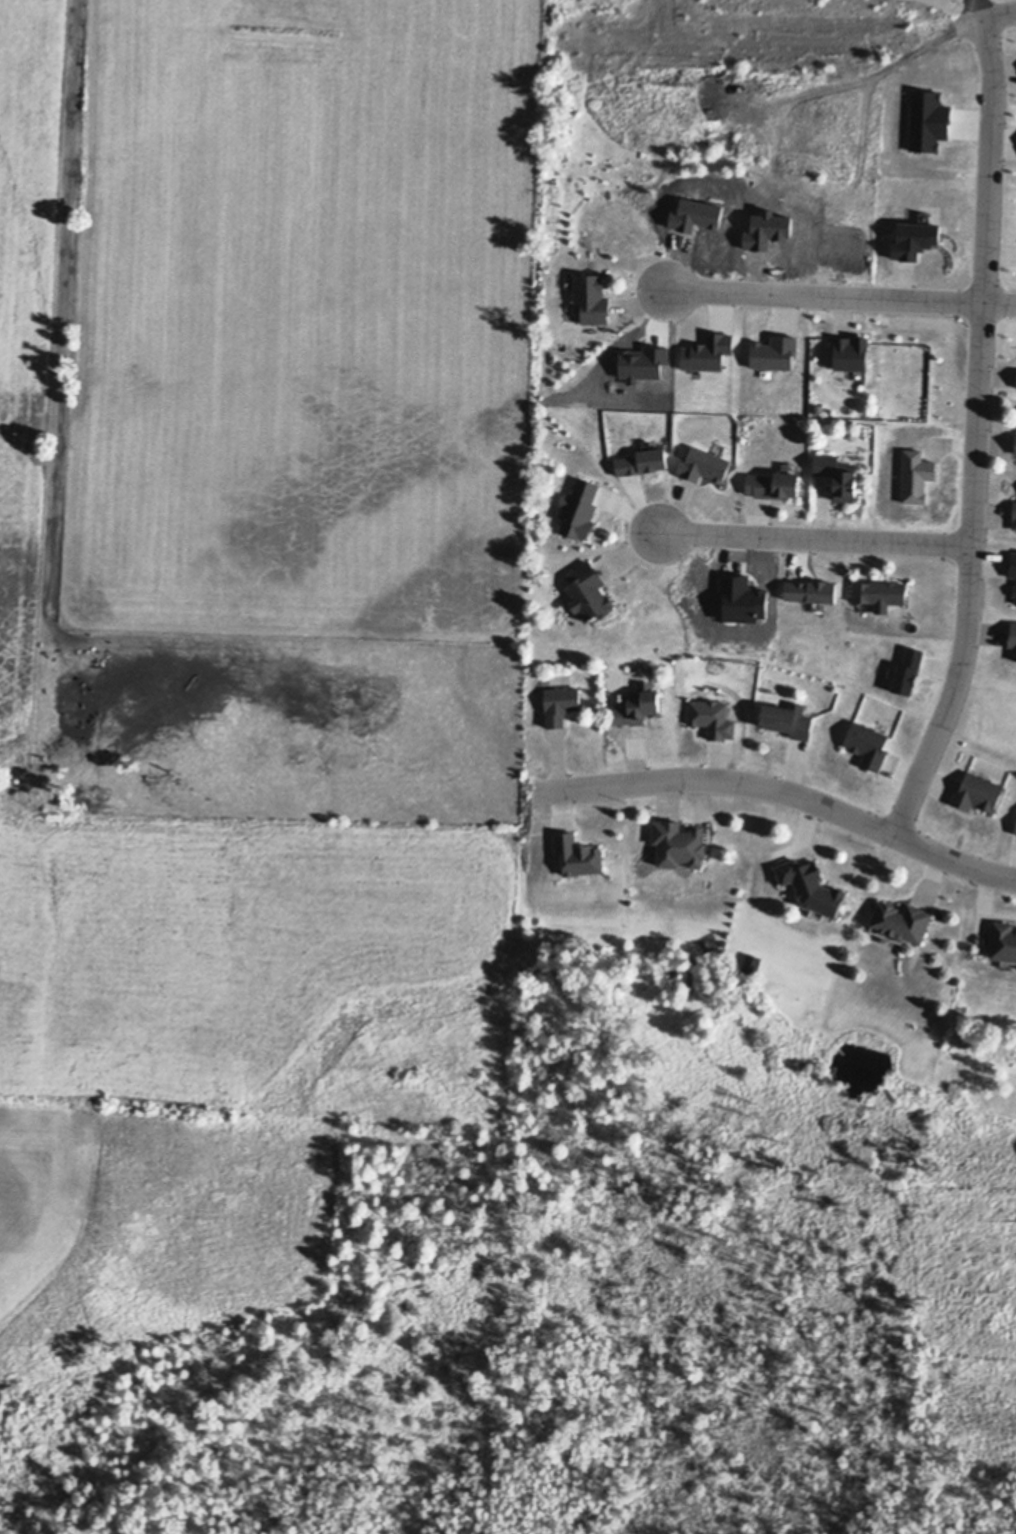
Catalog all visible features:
road: (981, 8)
road: (999, 13)
road: (842, 298)
building: (590, 299)
building: (851, 355)
road: (977, 431)
building: (1015, 433)
building: (1015, 447)
building: (837, 476)
building: (772, 486)
building: (579, 510)
building: (1014, 515)
road: (815, 537)
building: (588, 594)
building: (879, 594)
crop: (242, 610)
building: (1012, 636)
building: (561, 705)
building: (637, 706)
building: (711, 718)
building: (786, 720)
building: (867, 744)
road: (776, 790)
building: (977, 792)
building: (1015, 830)
building: (1015, 834)
building: (679, 846)
building: (578, 857)
building: (811, 888)
building: (901, 923)
building: (1004, 942)
building: (751, 964)

